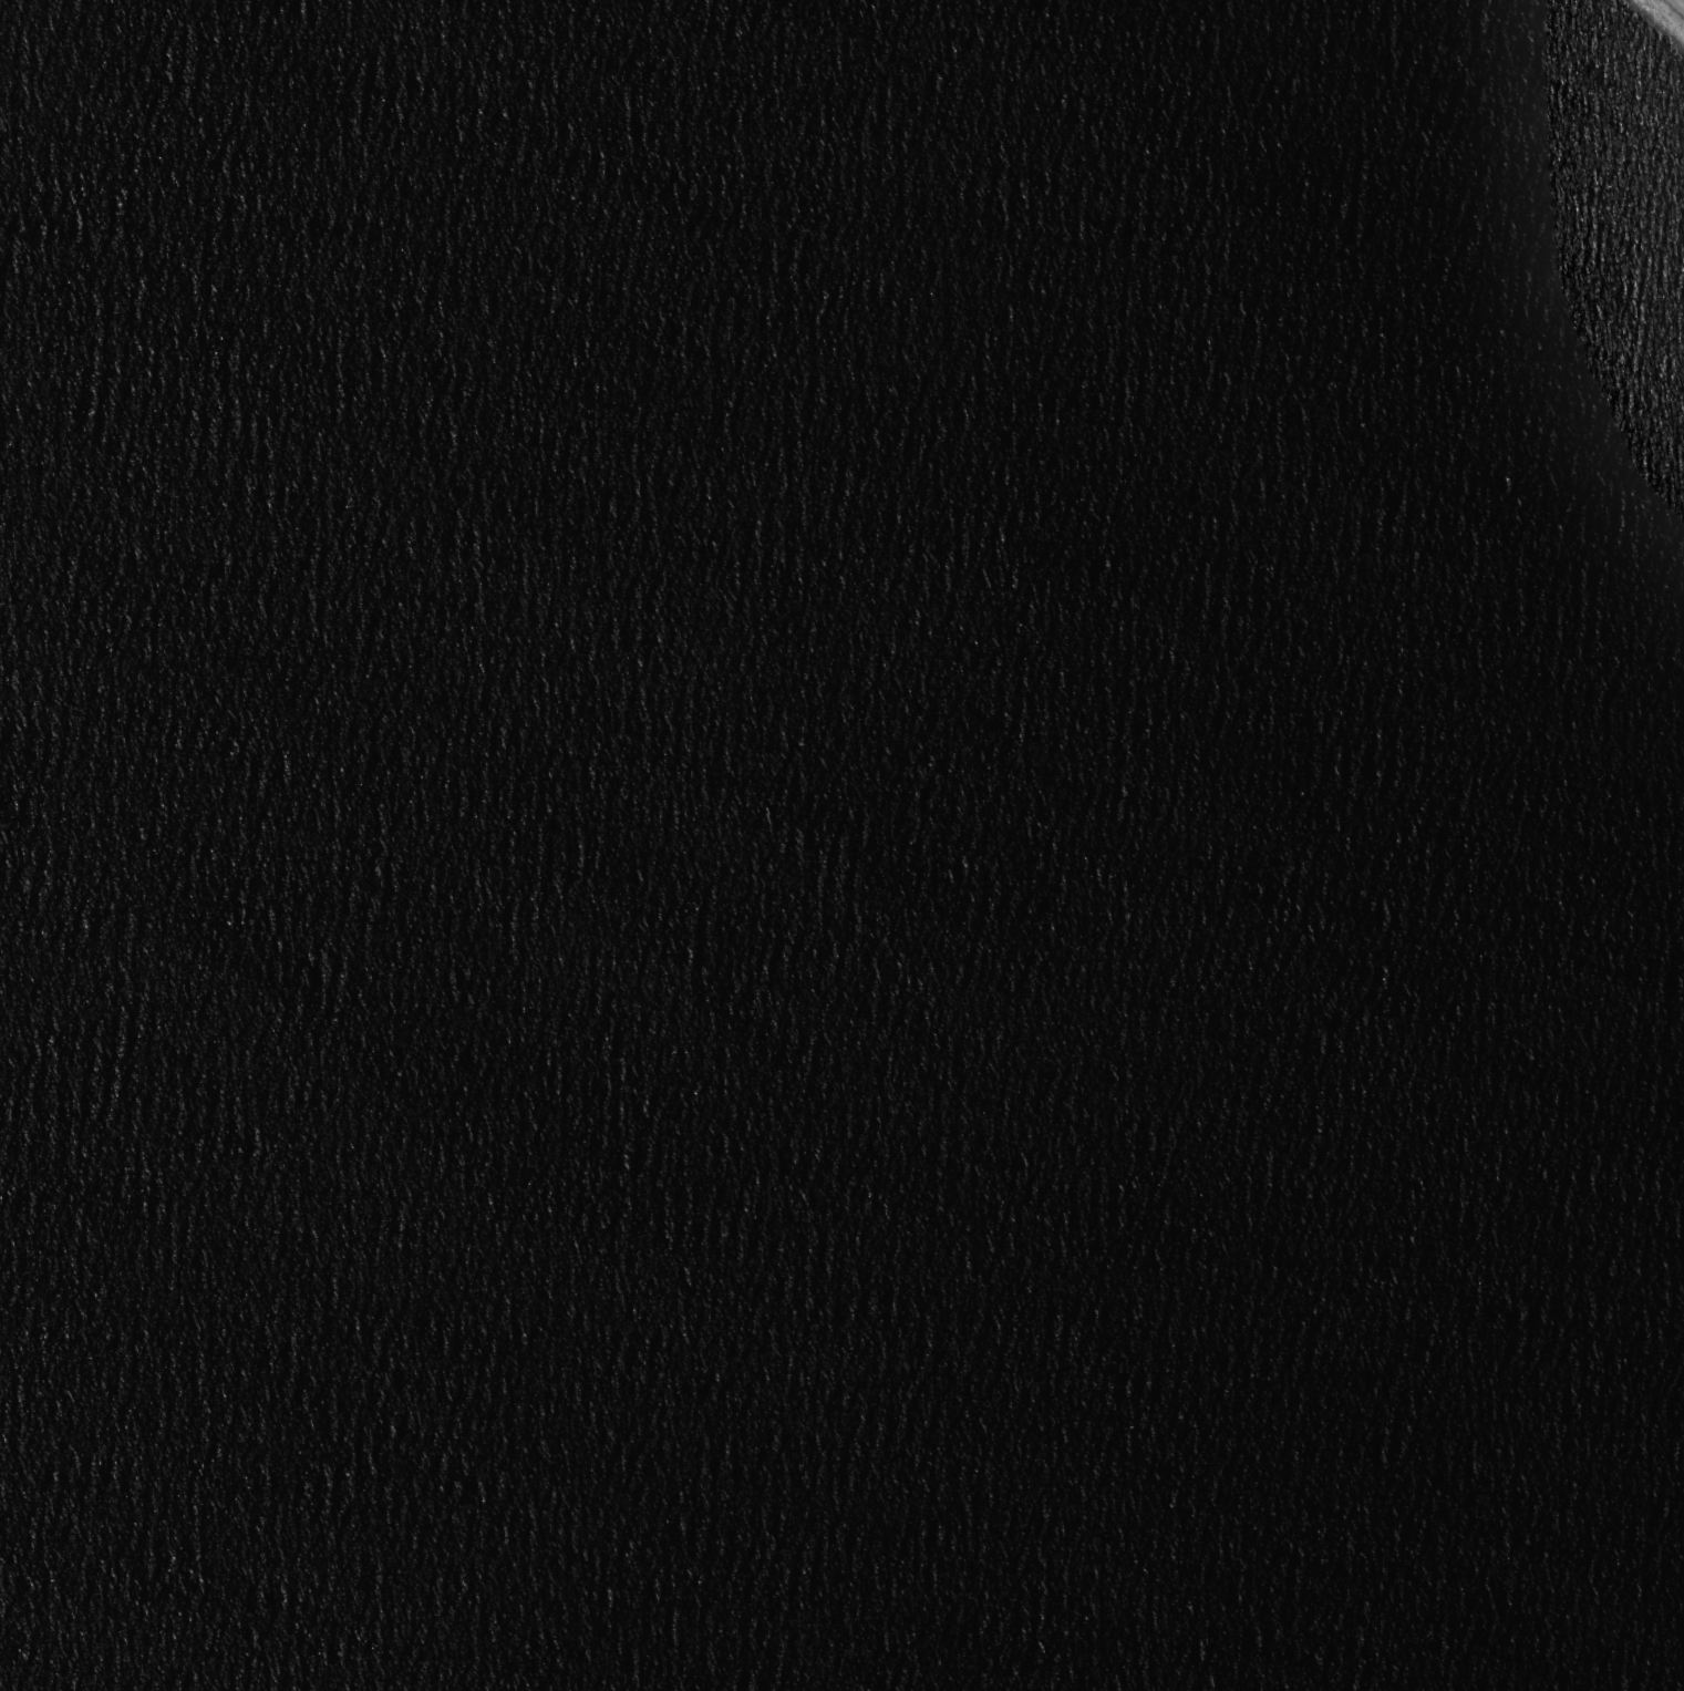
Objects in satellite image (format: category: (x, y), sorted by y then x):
airport: (1667, 13)

